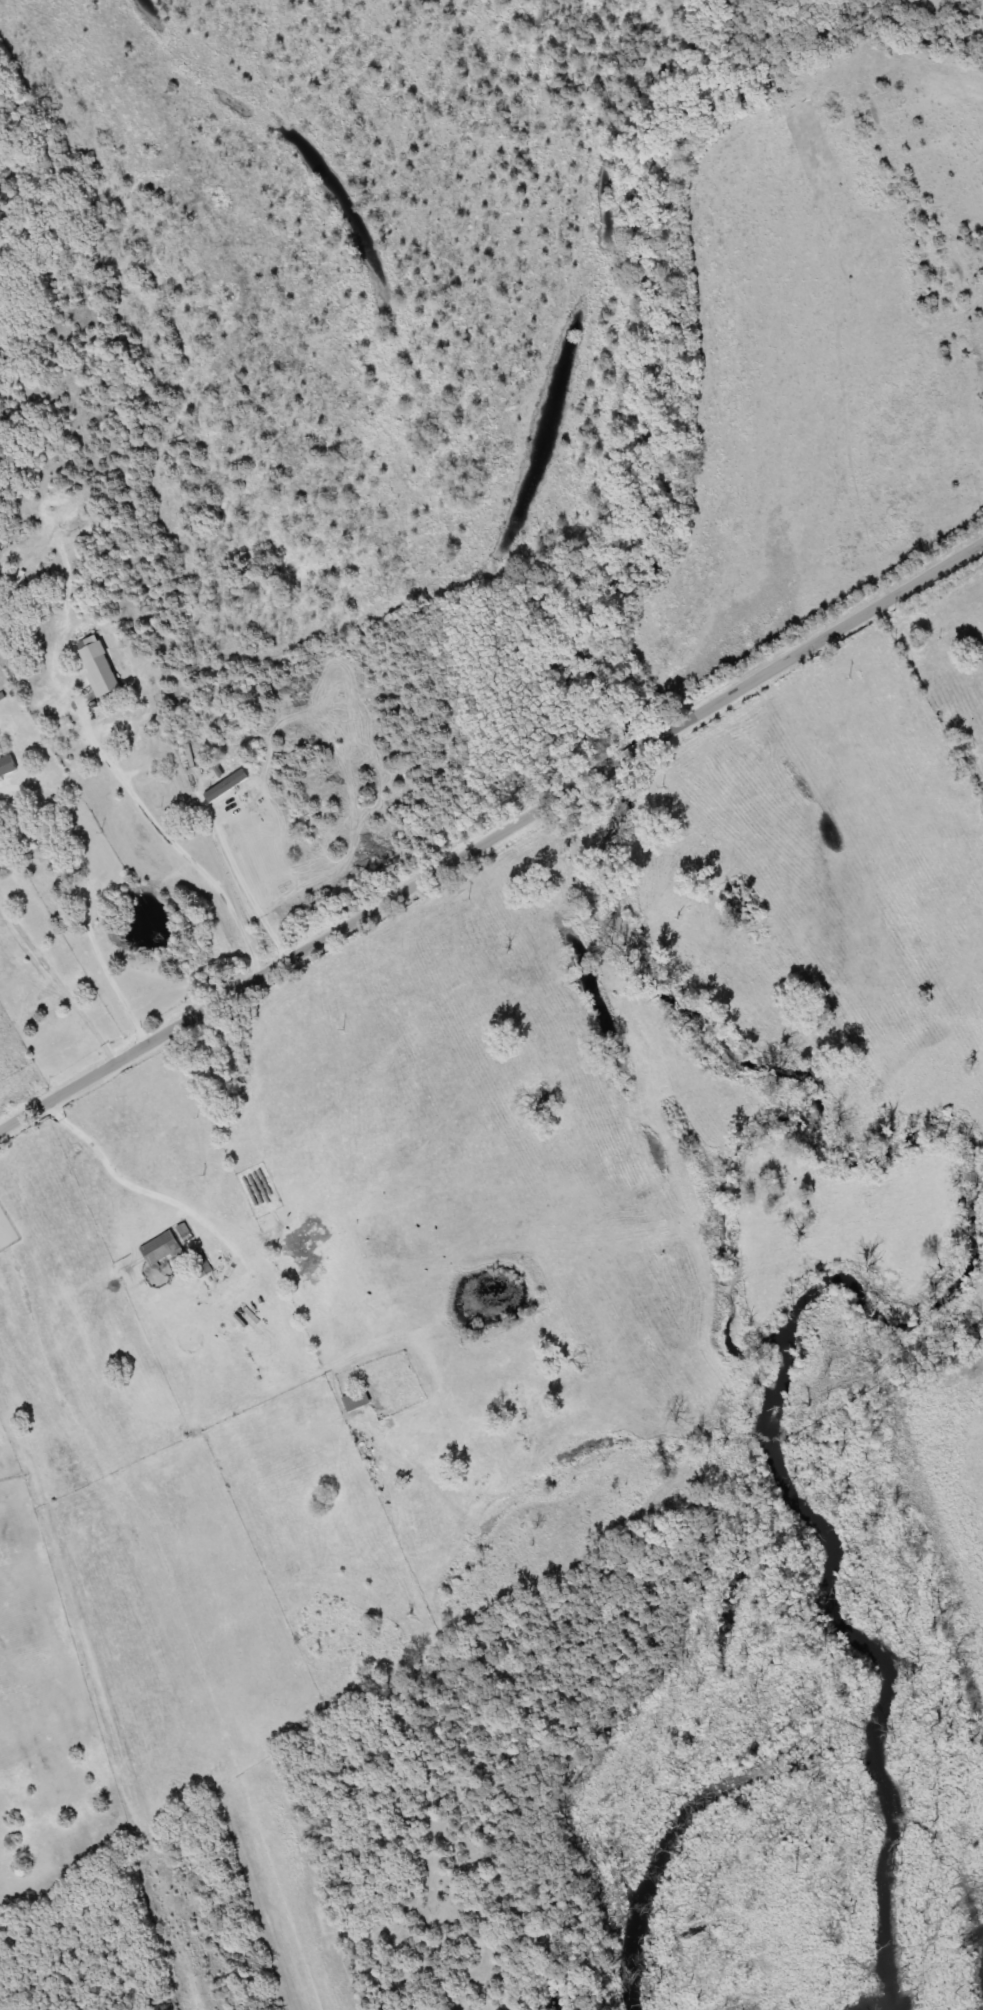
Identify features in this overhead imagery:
building: (981, 652)
building: (113, 729)
building: (7, 766)
building: (225, 787)
road: (490, 837)
building: (161, 1249)
building: (201, 1264)
building: (355, 1400)

